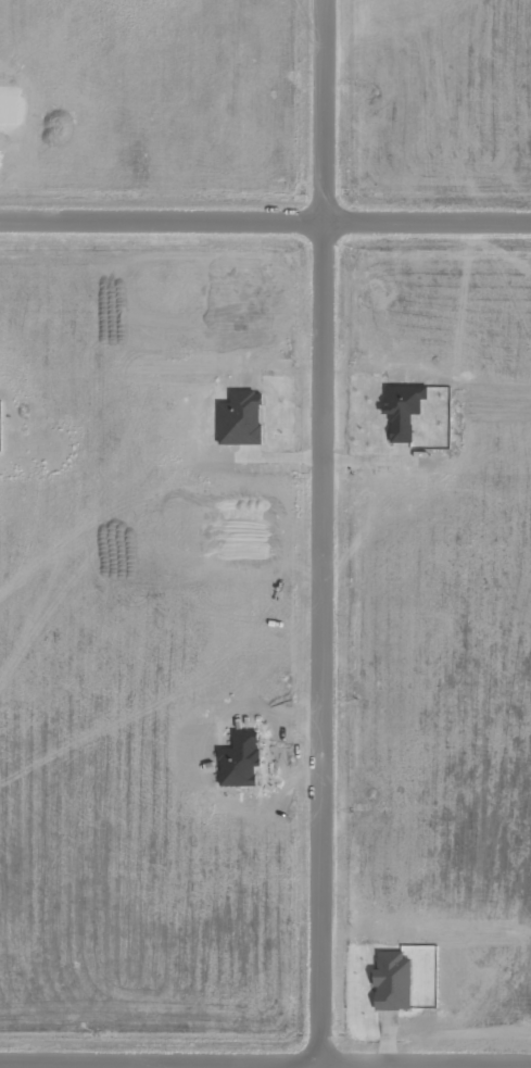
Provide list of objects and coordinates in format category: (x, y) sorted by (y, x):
road: (265, 223)
building: (401, 410)
building: (240, 418)
road: (323, 530)
road: (265, 1060)

